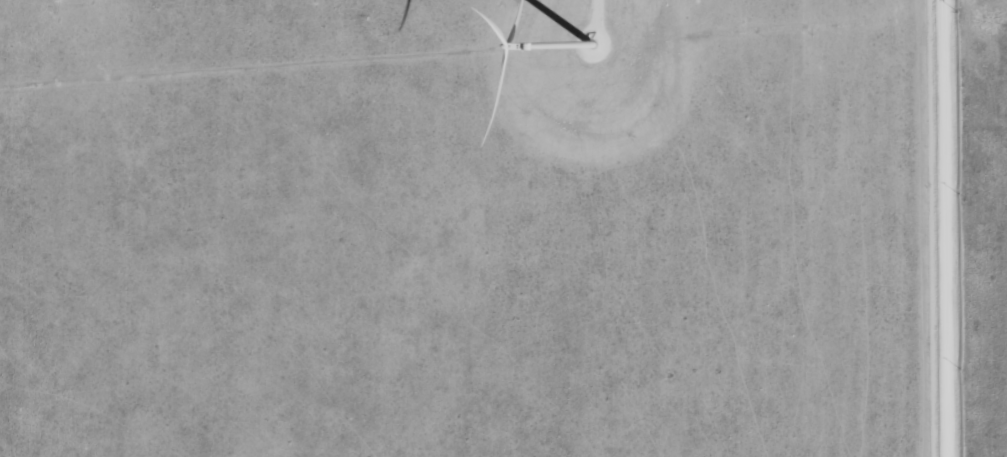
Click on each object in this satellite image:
wind turbine: (583, 52)
road: (947, 228)

